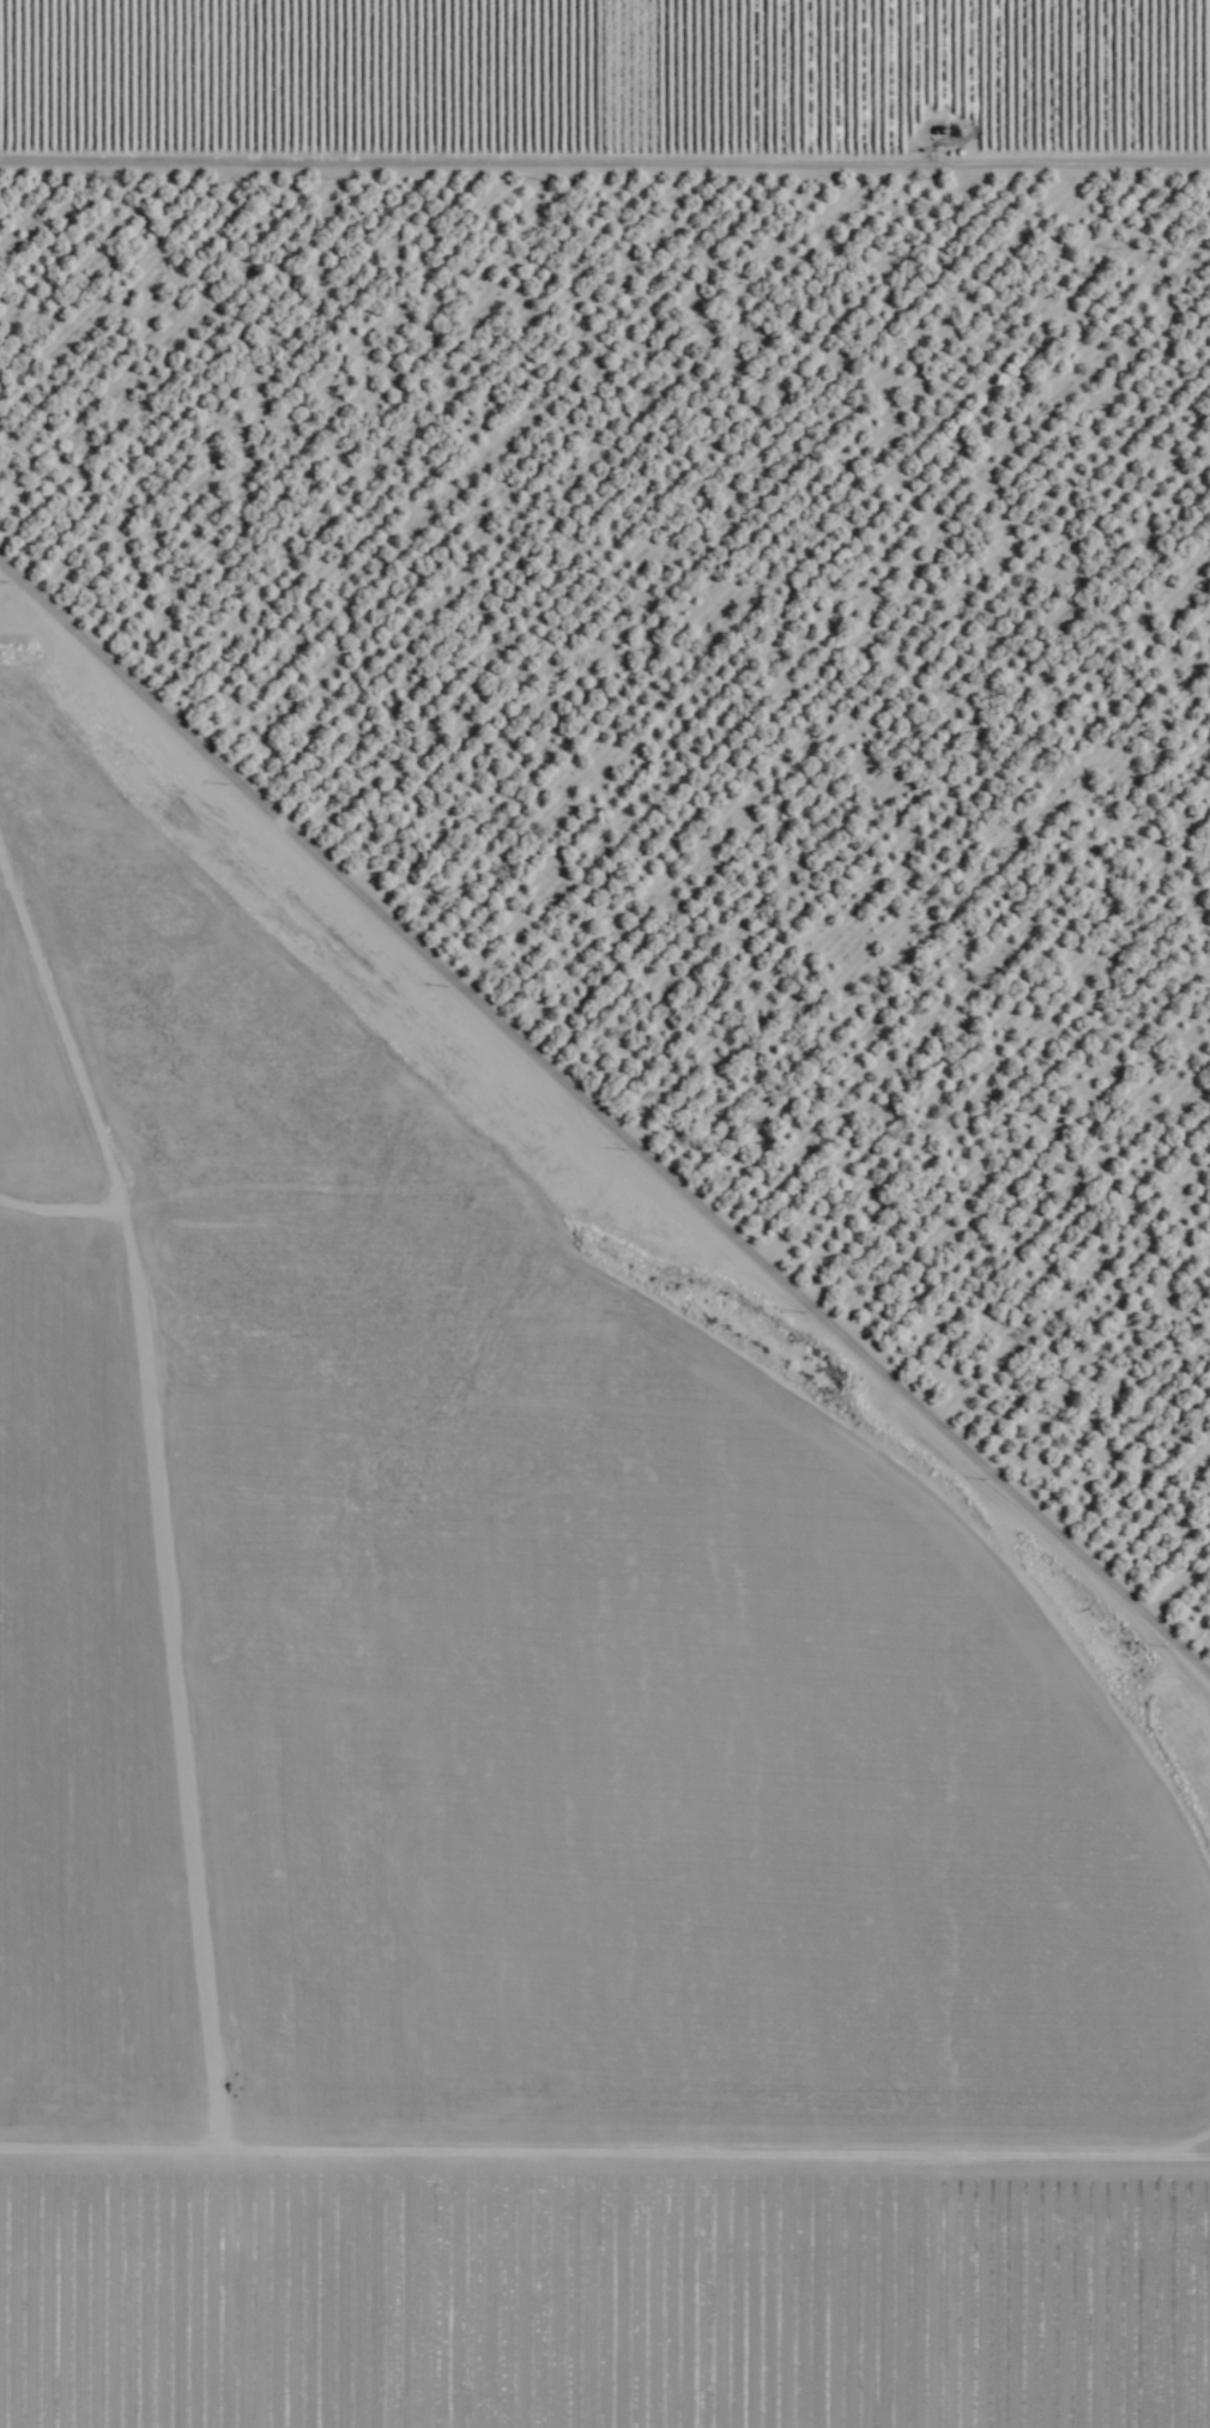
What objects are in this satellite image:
crop: (606, 85)
road: (605, 138)
crop: (558, 1835)

